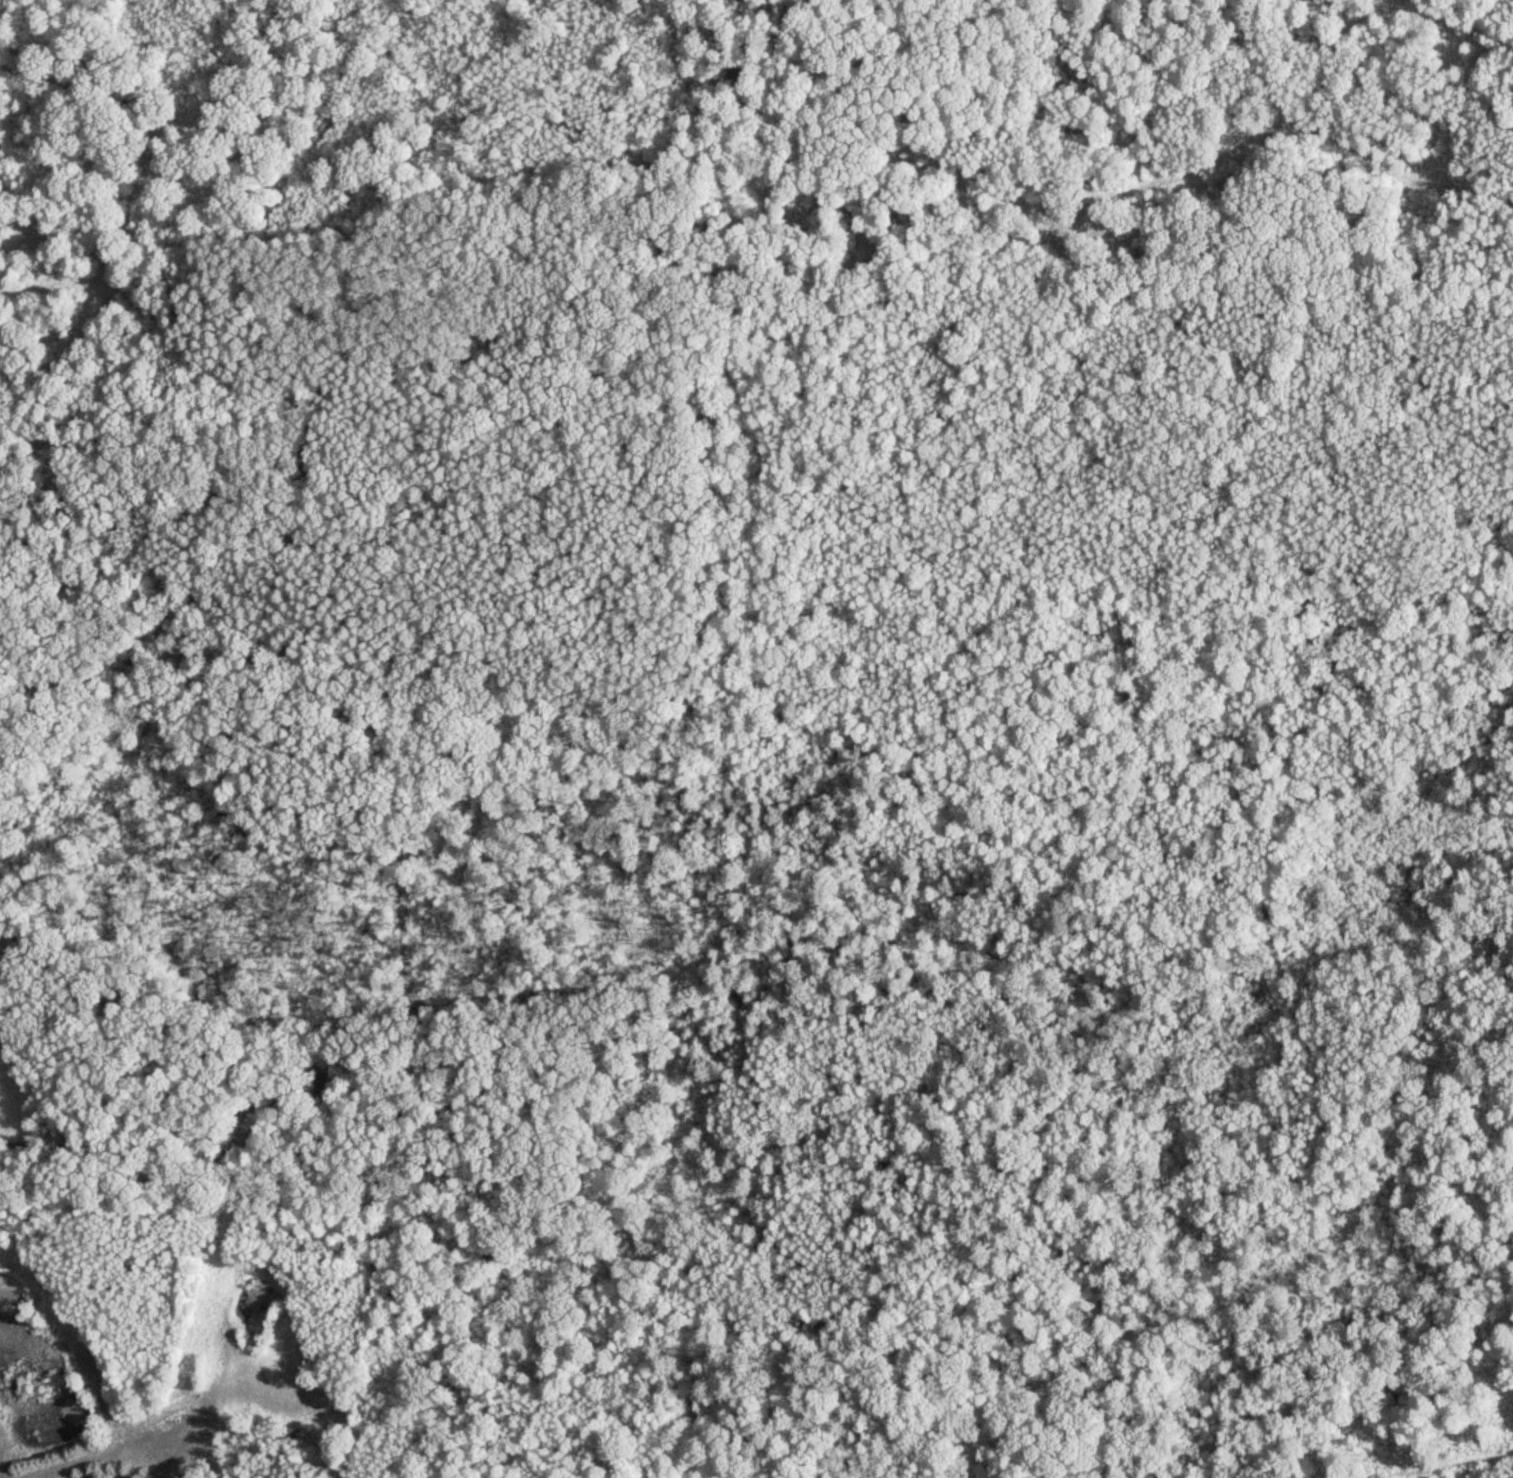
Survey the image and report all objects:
building: (298, 1439)

